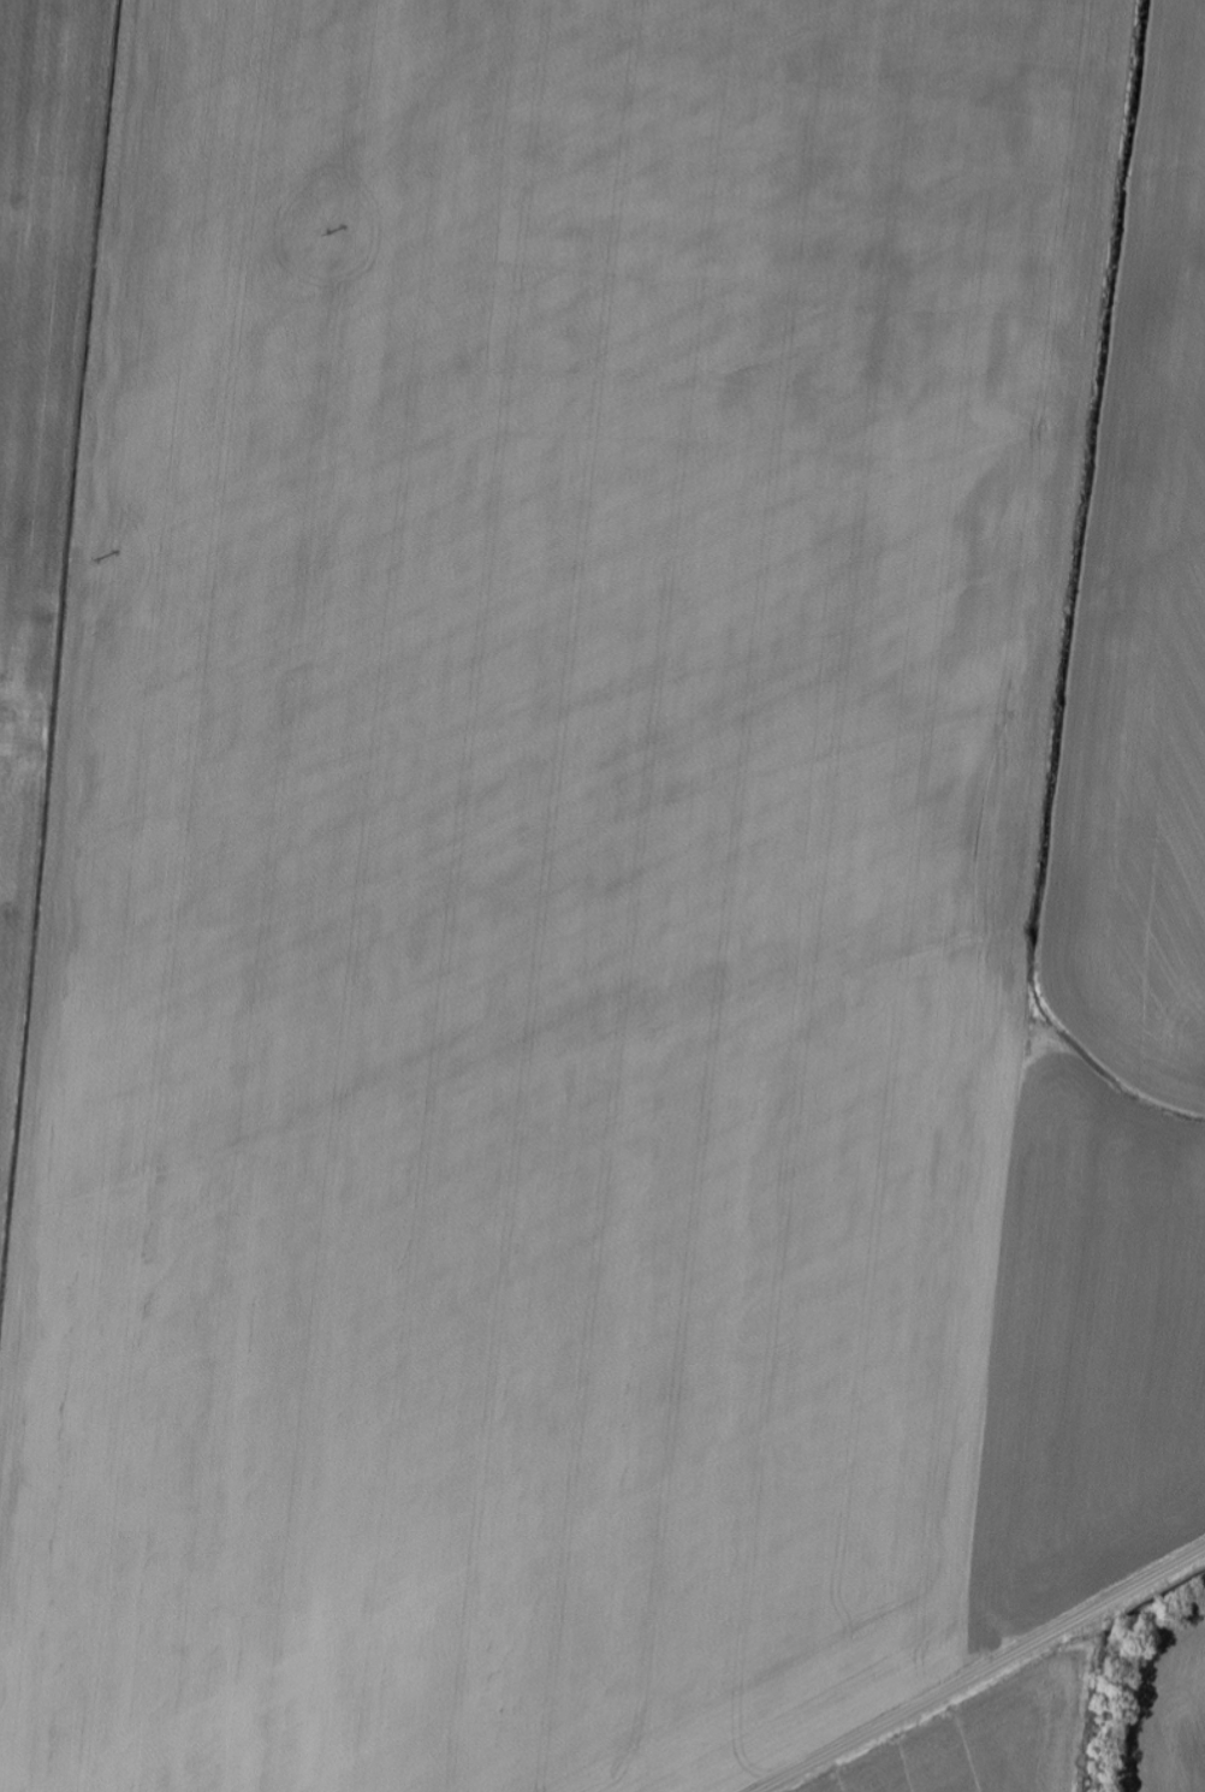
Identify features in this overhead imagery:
road: (981, 1672)

